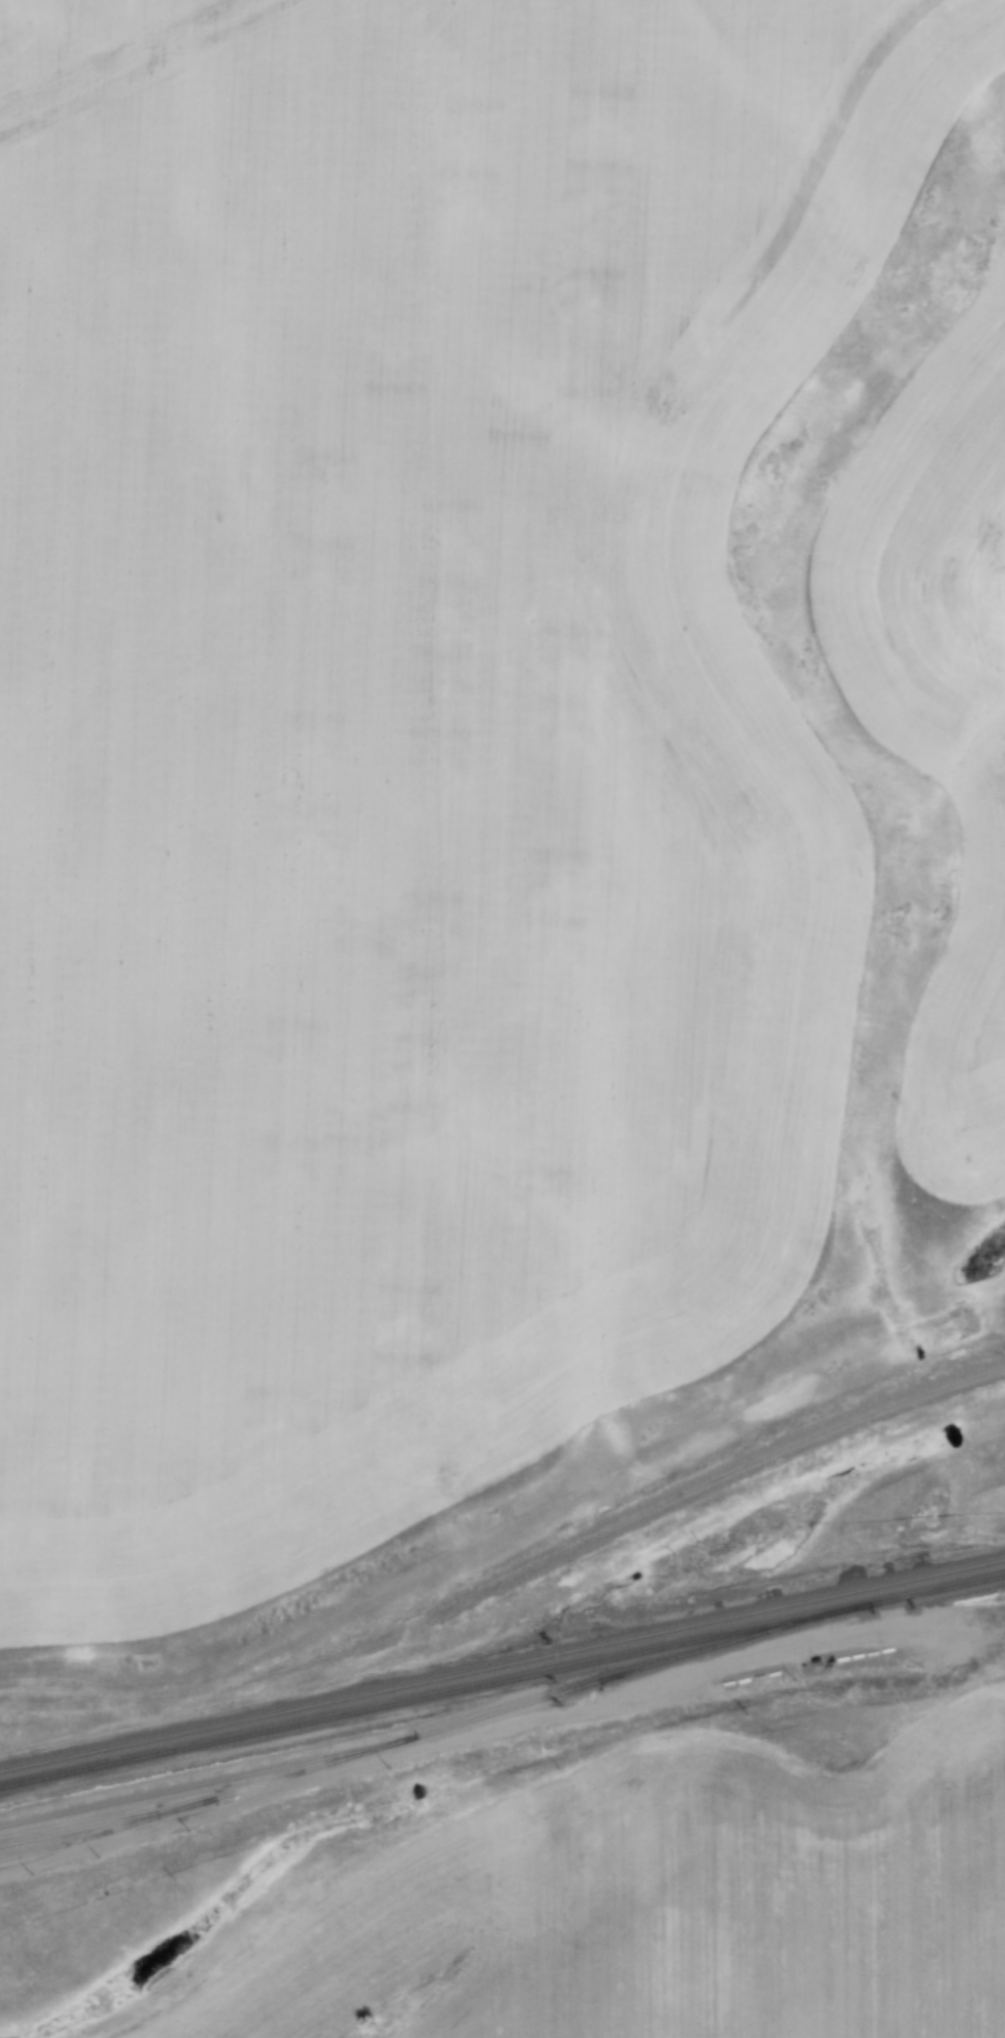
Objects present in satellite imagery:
railway: (502, 1663)
railway: (502, 1679)
railway: (437, 1726)
railway: (199, 1799)
railway: (100, 1821)

